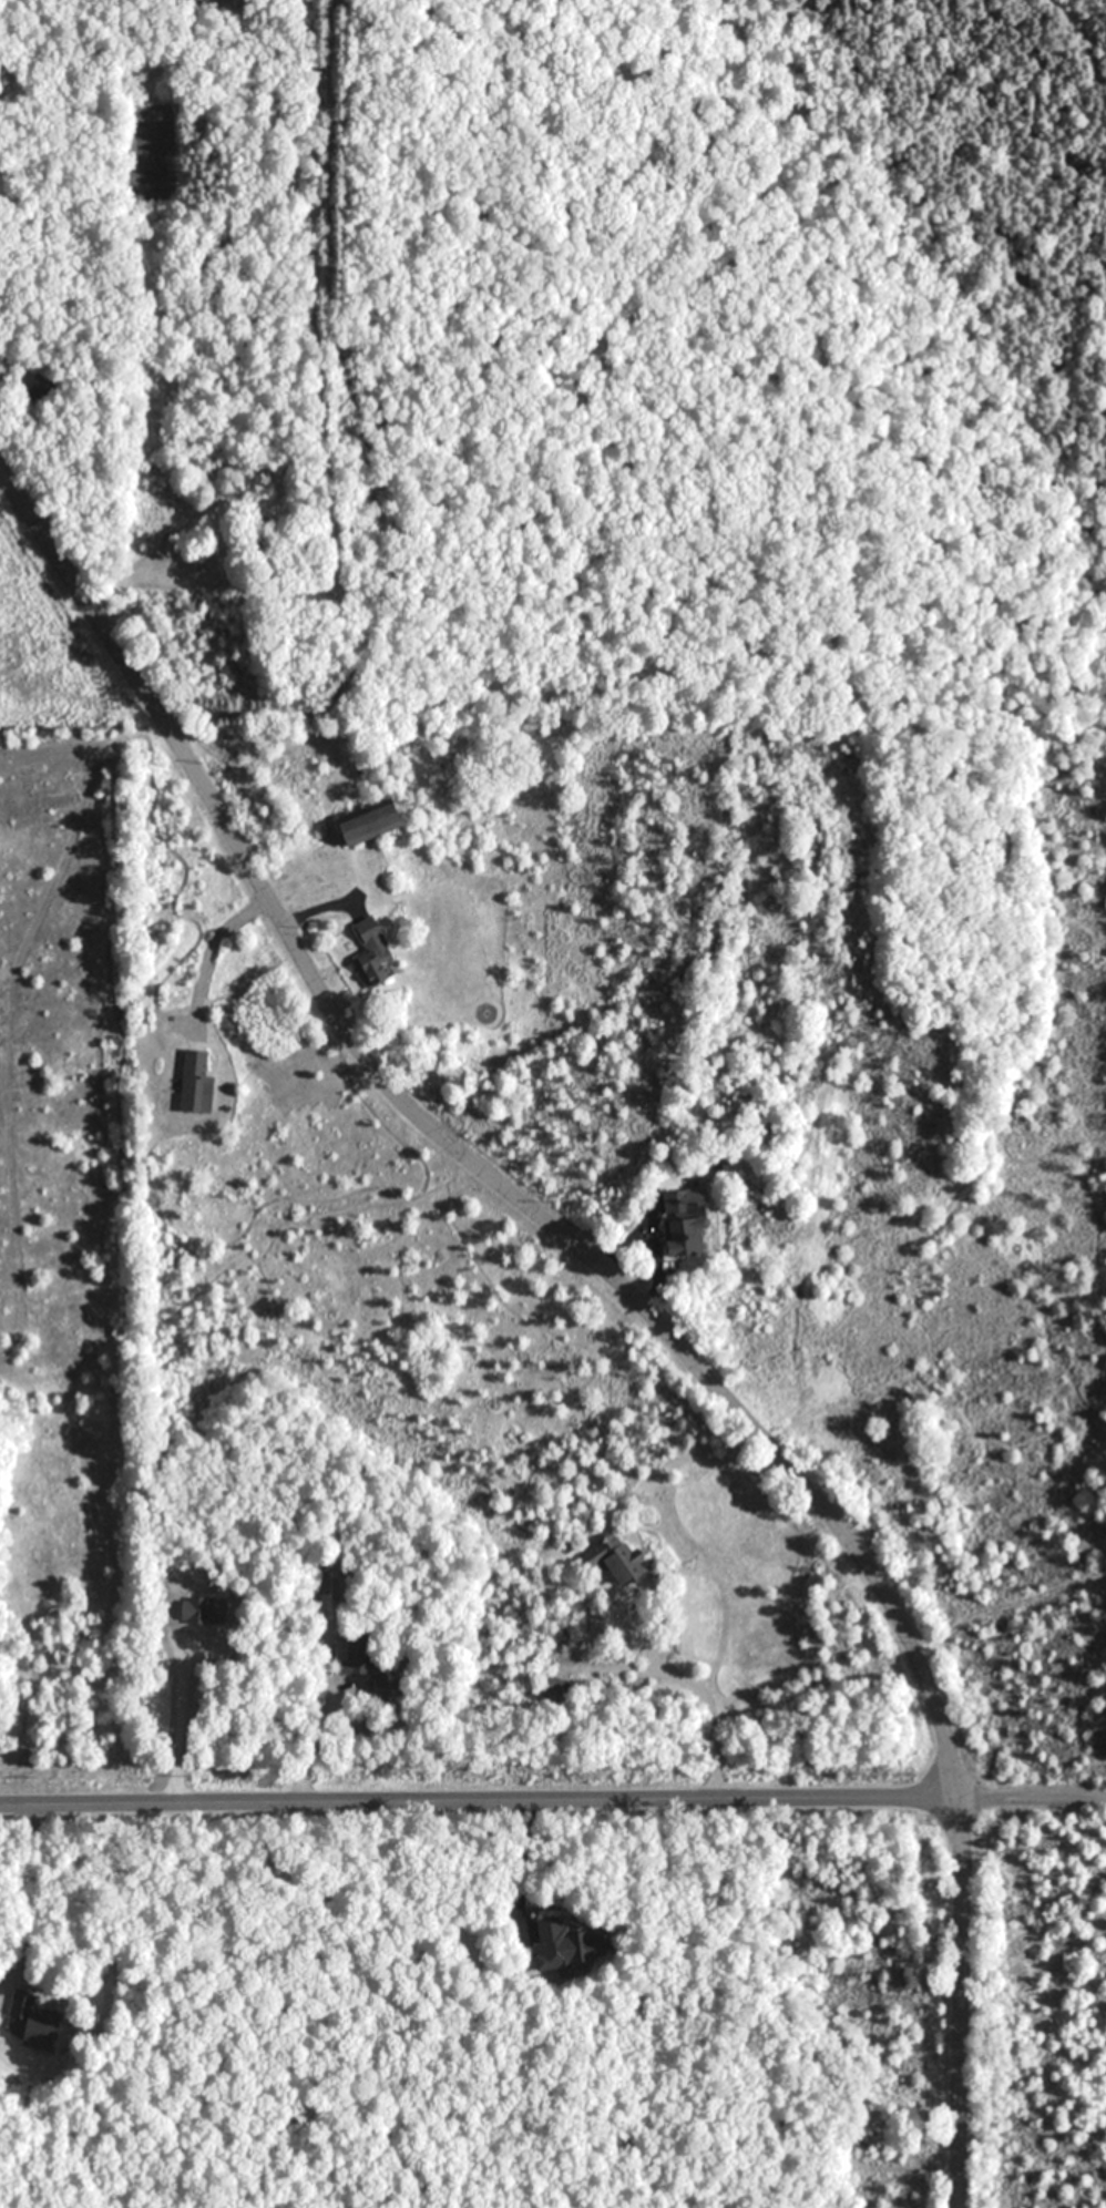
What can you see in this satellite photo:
building: (362, 821)
road: (212, 949)
building: (366, 952)
building: (192, 1080)
building: (669, 1207)
road: (618, 1284)
building: (611, 1560)
road: (698, 1687)
road: (308, 1749)
road: (552, 1800)
road: (28, 1894)
building: (570, 1944)
building: (28, 2015)
road: (791, 2094)

